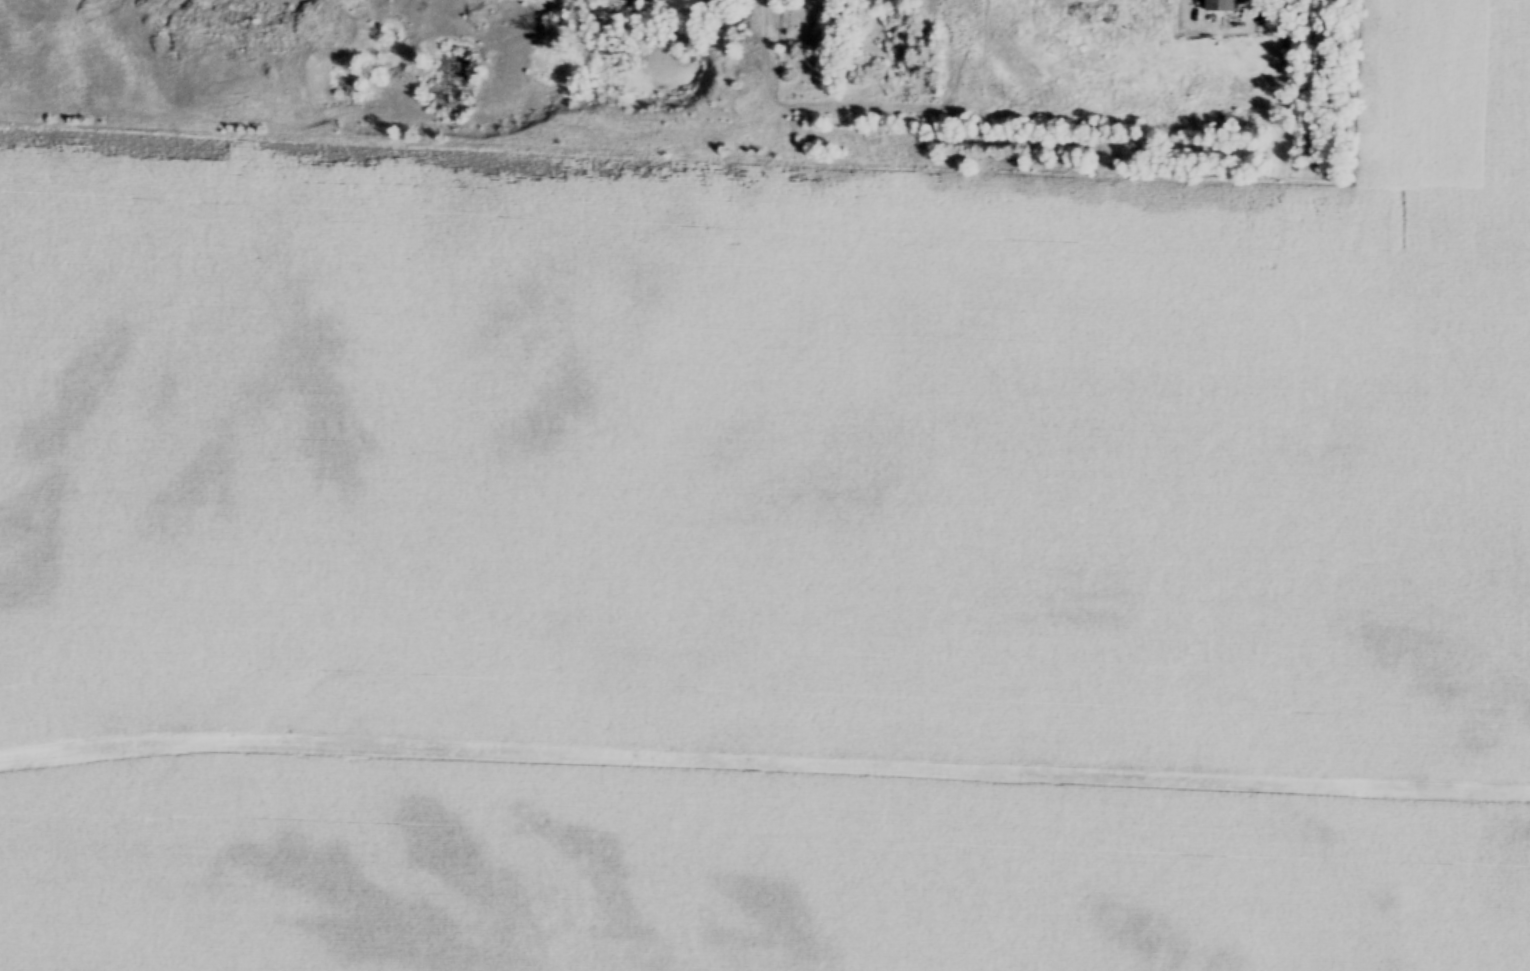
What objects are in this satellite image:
building: (1220, 6)

